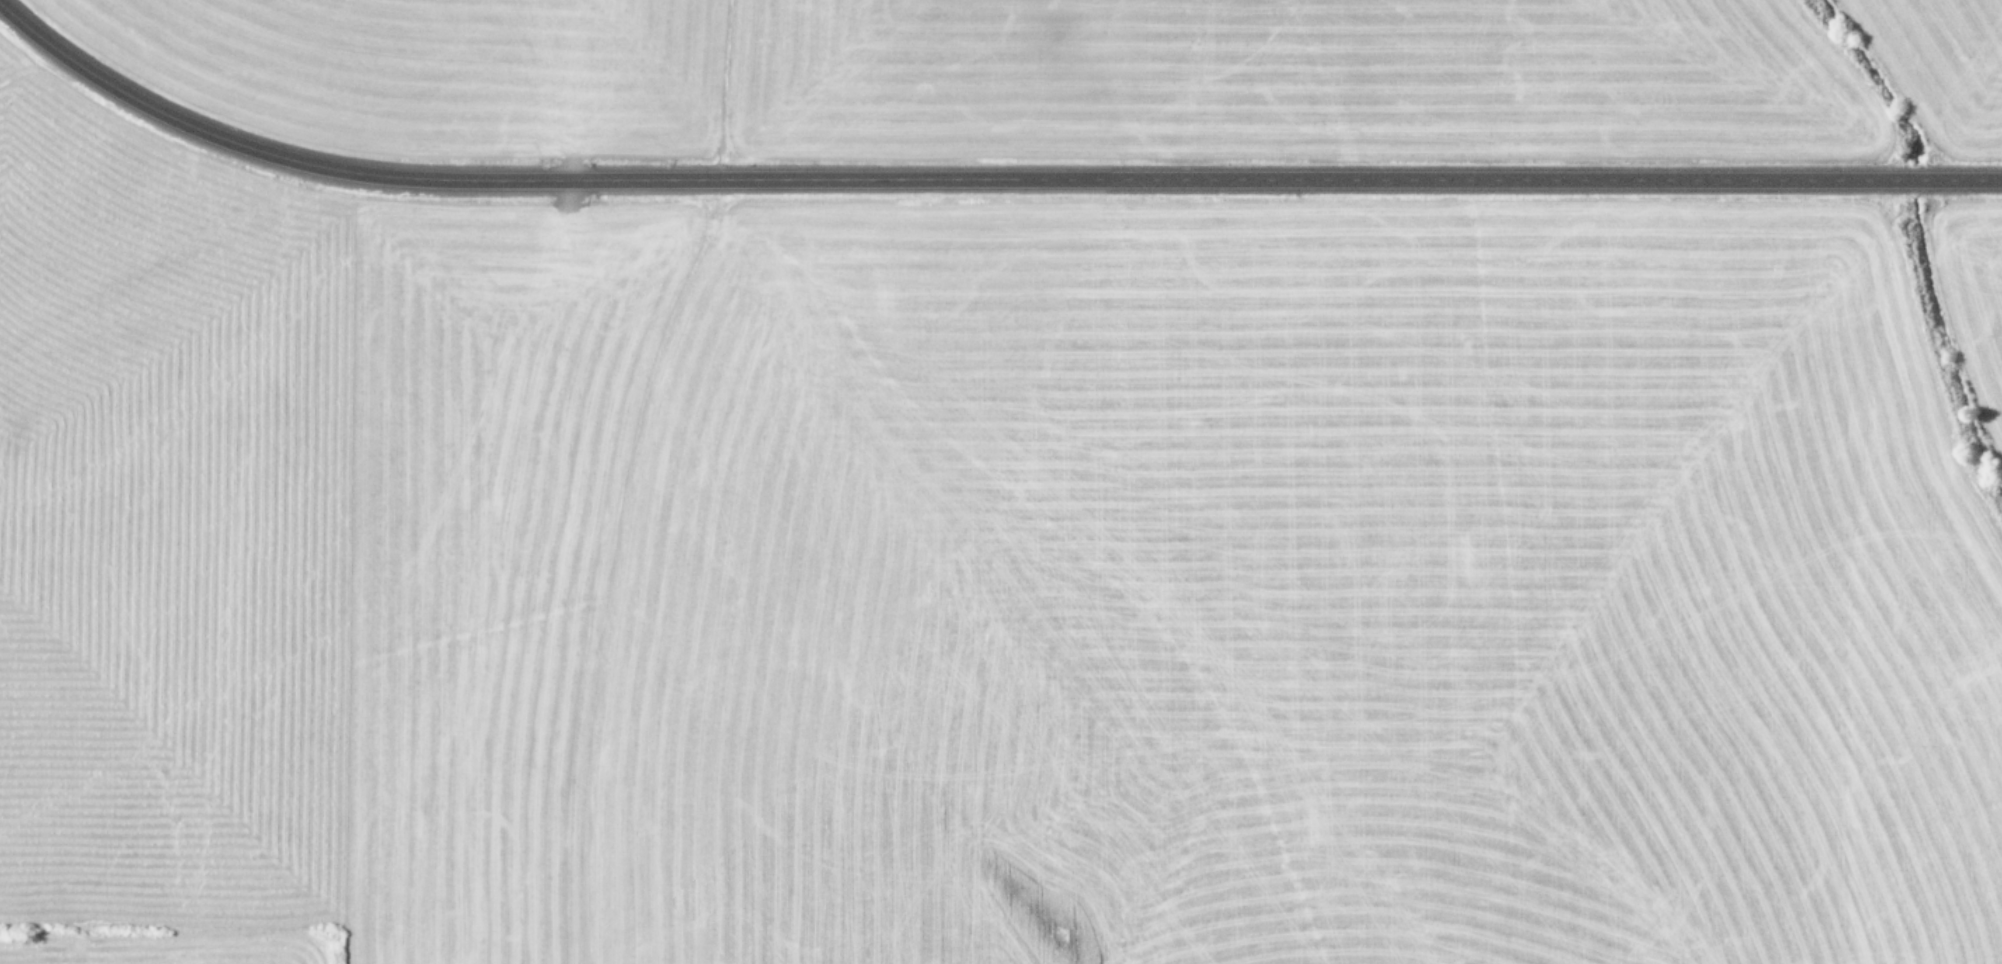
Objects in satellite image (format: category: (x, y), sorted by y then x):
road: (977, 178)
crop: (1001, 482)

